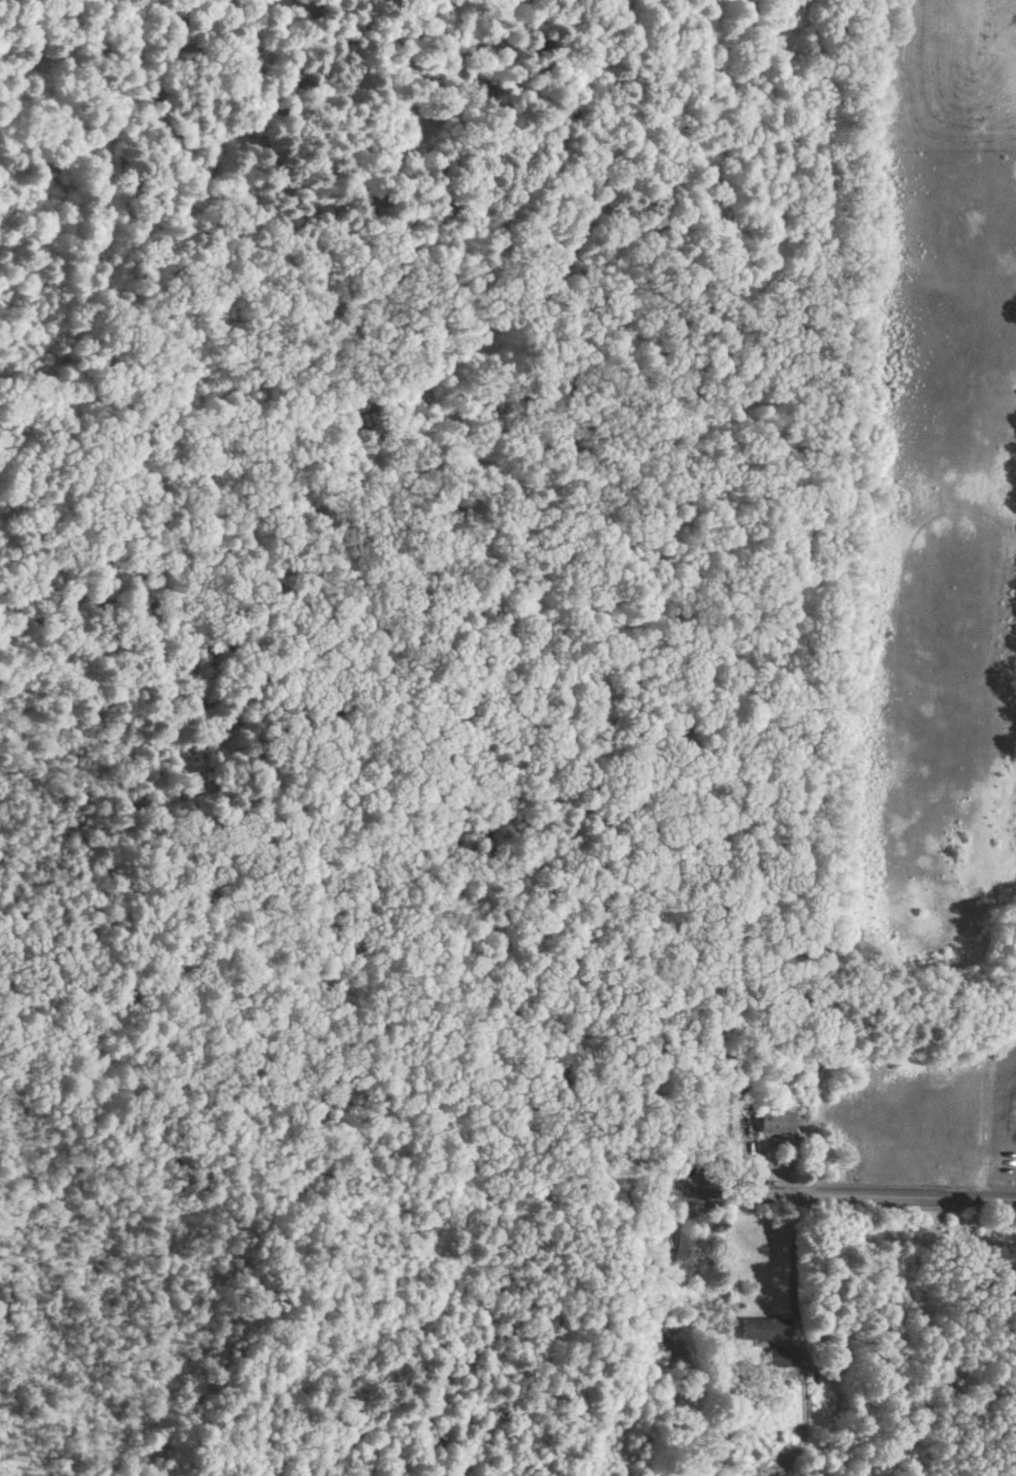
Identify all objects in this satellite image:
building: (776, 1124)
building: (723, 1132)
road: (849, 1192)
road: (794, 1256)
building: (765, 1331)
building: (780, 1359)

